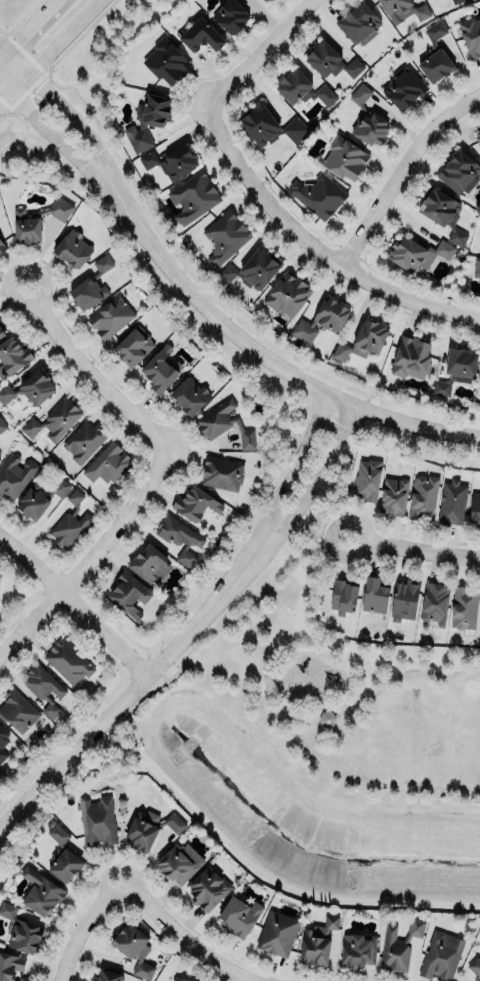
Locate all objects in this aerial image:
building: (264, 0)
building: (456, 1)
building: (422, 14)
building: (230, 15)
building: (358, 23)
road: (28, 28)
road: (62, 35)
building: (201, 35)
building: (470, 36)
road: (3, 48)
road: (261, 53)
building: (435, 55)
building: (329, 60)
building: (166, 62)
road: (13, 85)
building: (403, 87)
building: (302, 88)
building: (366, 117)
road: (73, 118)
building: (148, 119)
building: (270, 125)
building: (478, 138)
road: (61, 141)
building: (345, 158)
building: (171, 161)
road: (399, 170)
building: (459, 172)
building: (318, 195)
building: (194, 200)
building: (442, 212)
building: (37, 220)
building: (225, 238)
building: (2, 246)
road: (313, 247)
building: (72, 249)
building: (417, 253)
building: (476, 267)
building: (254, 269)
building: (91, 285)
building: (287, 295)
building: (110, 317)
building: (322, 320)
building: (1, 329)
building: (360, 343)
building: (133, 347)
building: (12, 356)
building: (412, 357)
road: (273, 359)
building: (160, 369)
building: (457, 369)
road: (89, 371)
building: (30, 389)
building: (189, 395)
building: (52, 421)
building: (223, 423)
building: (2, 426)
building: (83, 441)
building: (0, 458)
building: (108, 464)
building: (221, 472)
building: (14, 476)
building: (367, 479)
road: (282, 488)
building: (392, 496)
building: (423, 496)
building: (39, 497)
road: (300, 499)
building: (196, 503)
building: (450, 503)
building: (474, 508)
building: (70, 522)
road: (373, 525)
building: (179, 538)
road: (466, 543)
road: (414, 550)
road: (92, 551)
road: (393, 560)
building: (149, 561)
road: (228, 586)
building: (129, 594)
building: (375, 595)
building: (343, 596)
building: (404, 599)
road: (74, 601)
building: (434, 603)
building: (463, 607)
road: (243, 613)
road: (272, 654)
building: (67, 662)
road: (154, 665)
road: (164, 676)
building: (43, 687)
park: (348, 705)
road: (111, 707)
road: (328, 708)
building: (17, 711)
building: (323, 718)
building: (3, 743)
road: (117, 751)
road: (79, 766)
building: (97, 821)
building: (150, 828)
building: (62, 855)
building: (179, 862)
road: (284, 880)
building: (208, 889)
building: (41, 893)
building: (239, 916)
road: (81, 925)
building: (20, 930)
road: (183, 934)
building: (277, 934)
building: (318, 942)
building: (397, 947)
building: (133, 949)
building: (358, 950)
building: (441, 955)
building: (11, 967)
building: (474, 967)
building: (108, 975)
building: (181, 979)
road: (251, 980)

